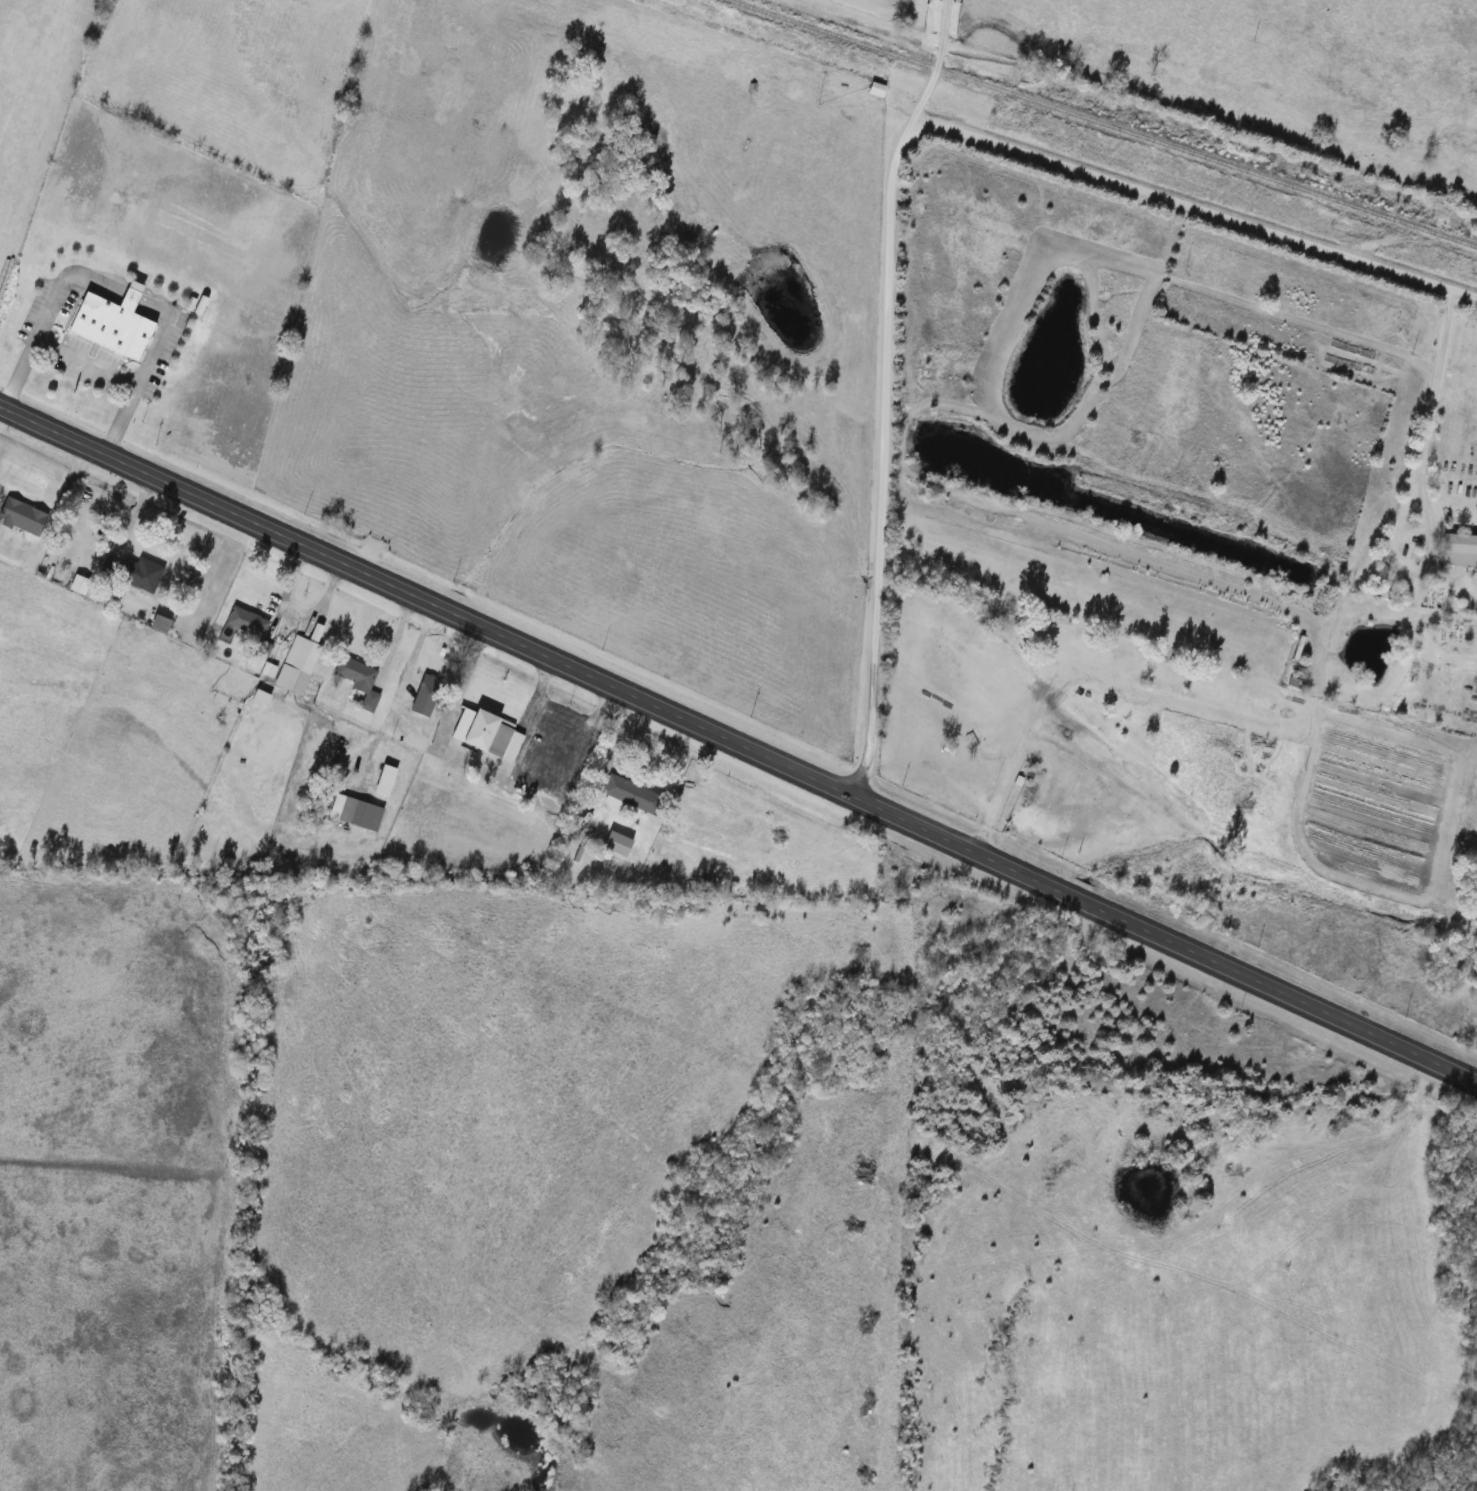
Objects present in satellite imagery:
road: (935, 68)
building: (872, 90)
railway: (1101, 123)
road: (892, 167)
building: (115, 324)
road: (83, 361)
road: (1433, 408)
road: (236, 511)
building: (23, 517)
building: (1457, 550)
building: (134, 572)
building: (81, 584)
building: (249, 622)
building: (163, 624)
building: (300, 661)
building: (359, 680)
building: (427, 695)
building: (490, 734)
building: (387, 781)
building: (633, 794)
building: (357, 812)
road: (973, 851)

